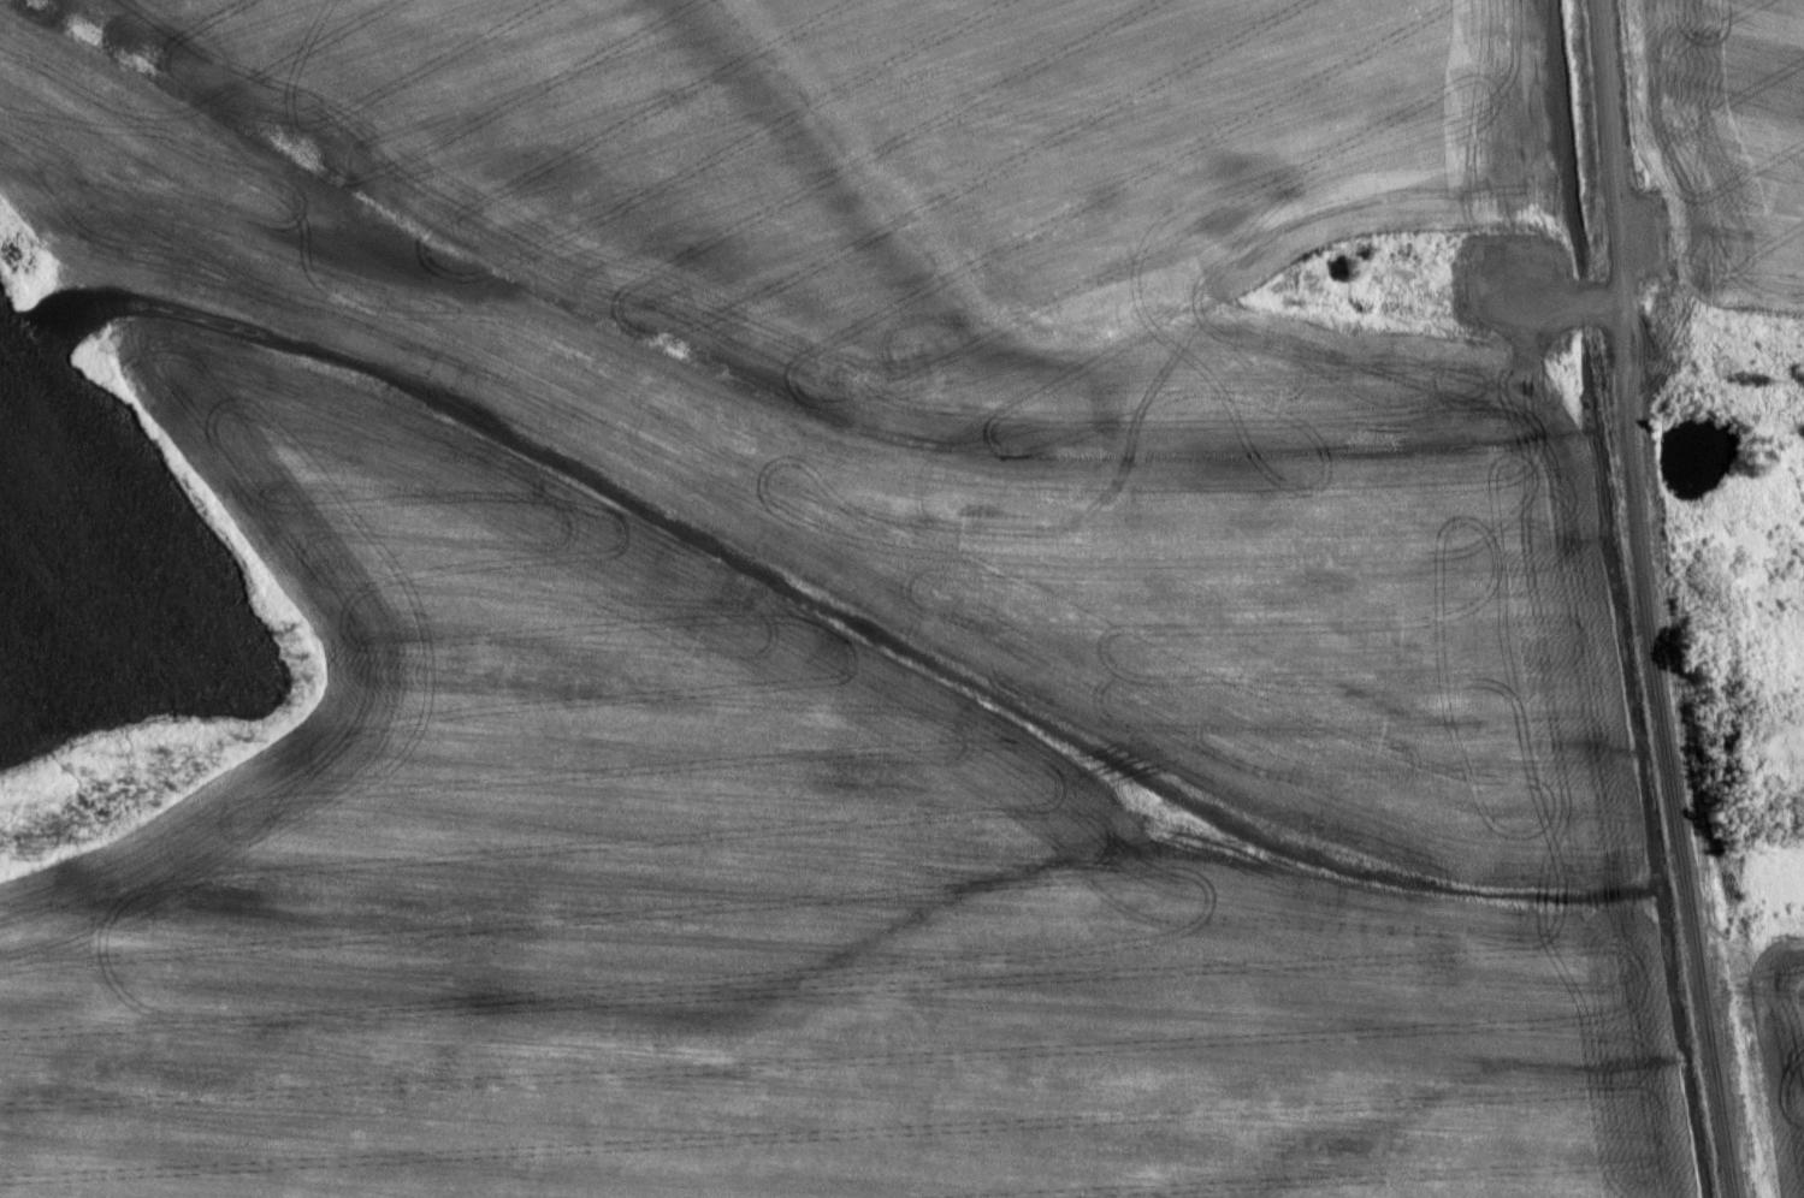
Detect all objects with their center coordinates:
road: (1645, 600)

